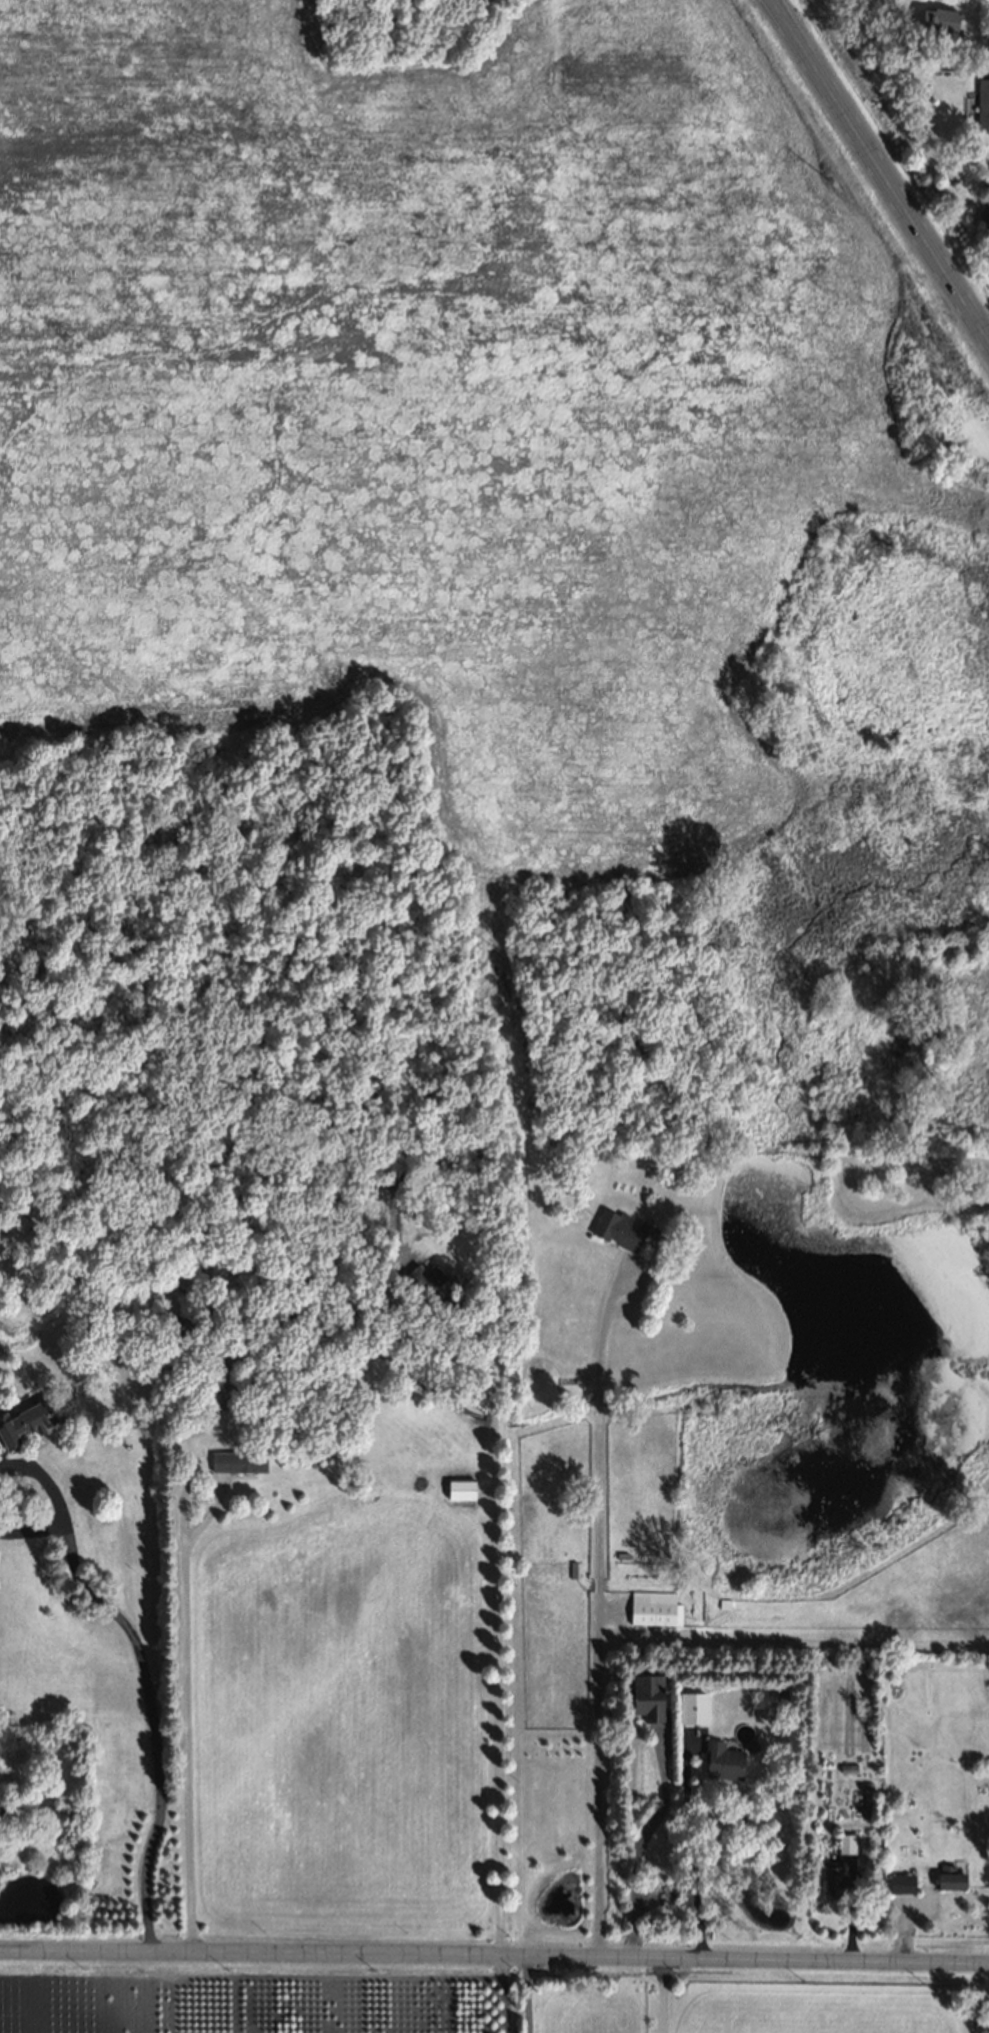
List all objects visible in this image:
building: (938, 20)
building: (981, 103)
road: (885, 164)
building: (983, 213)
building: (618, 1228)
building: (430, 1292)
building: (21, 1423)
building: (236, 1456)
road: (45, 1477)
building: (458, 1486)
road: (31, 1530)
building: (651, 1612)
road: (596, 1614)
road: (494, 1639)
road: (187, 1666)
building: (643, 1694)
building: (780, 1694)
building: (690, 1706)
road: (150, 1729)
building: (720, 1759)
building: (842, 1767)
building: (866, 1785)
building: (11, 1811)
building: (844, 1841)
road: (633, 1849)
road: (692, 1851)
building: (830, 1874)
building: (947, 1876)
building: (899, 1881)
road: (494, 1959)
road: (531, 1996)
road: (659, 1997)

